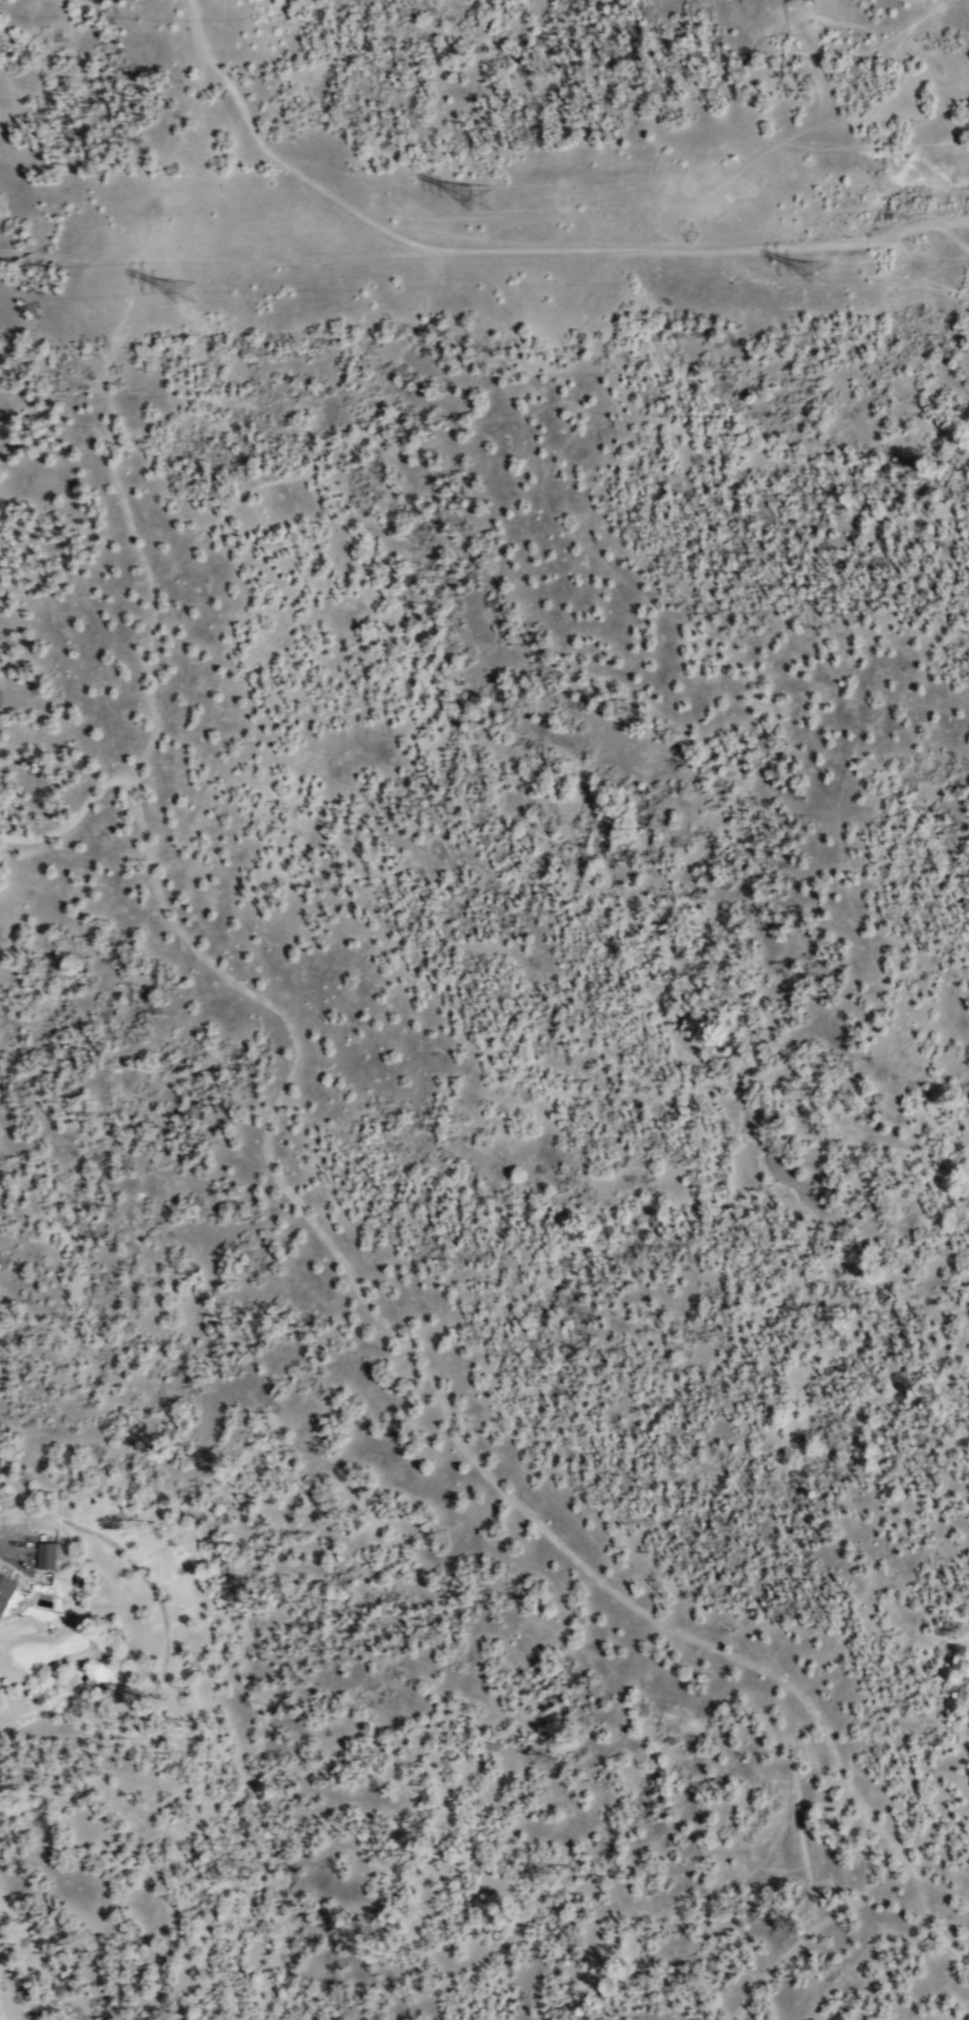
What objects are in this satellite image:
power tower: (816, 6)
power tower: (492, 204)
road: (519, 249)
power tower: (834, 284)
power tower: (187, 300)
building: (49, 1554)
building: (6, 1591)

